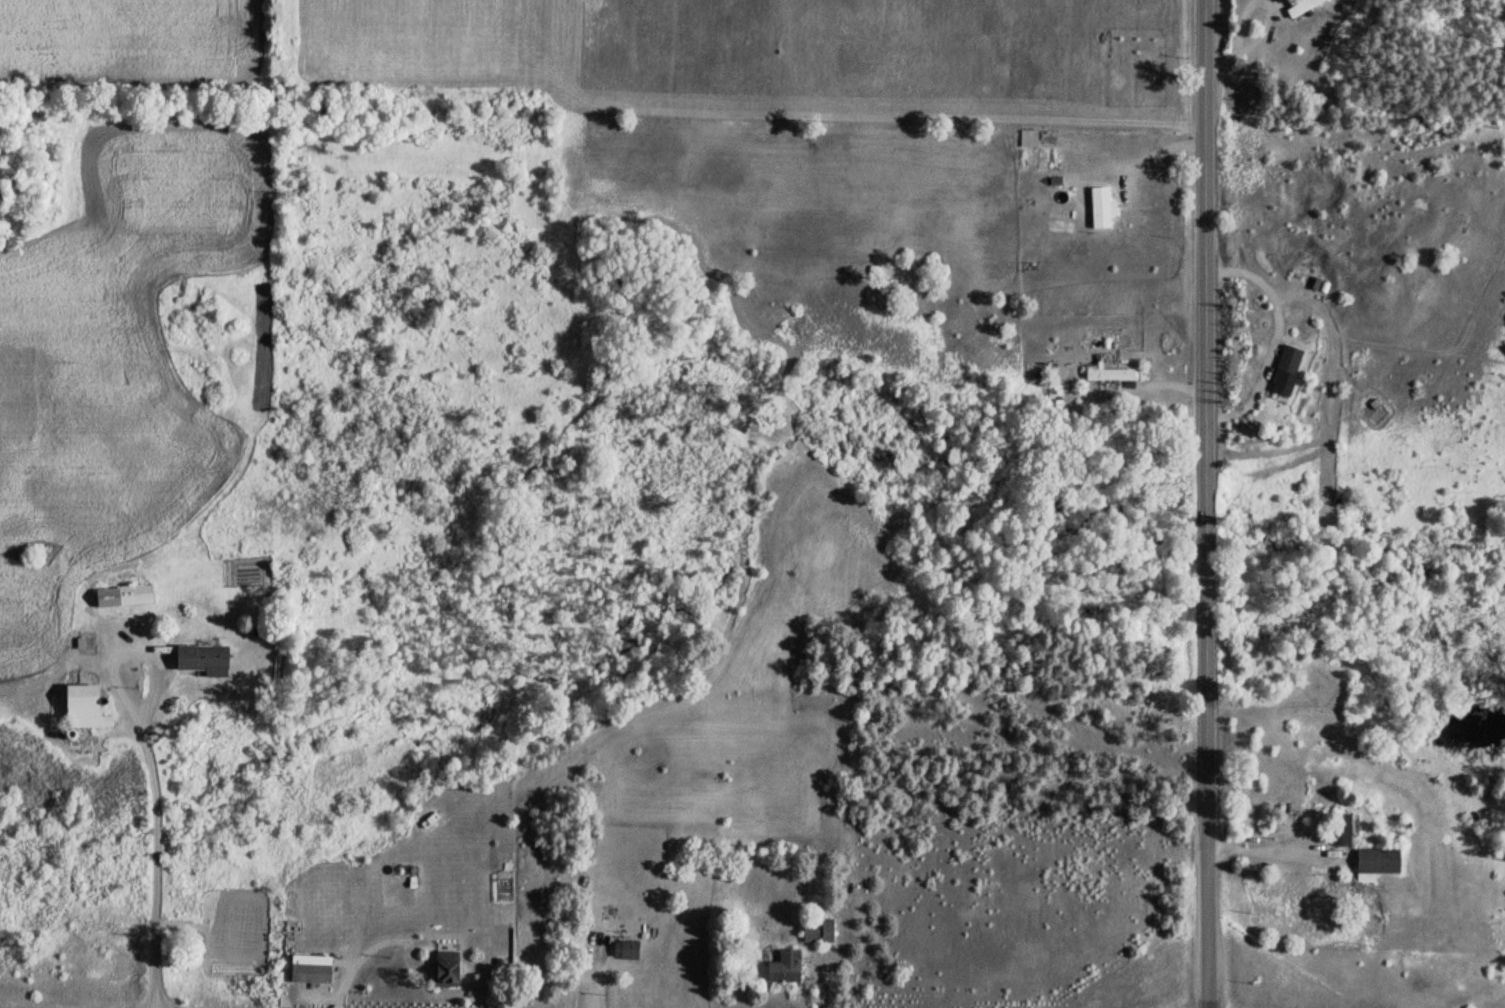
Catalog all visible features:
building: (1098, 207)
road: (1350, 235)
road: (1095, 362)
building: (1283, 369)
building: (1106, 373)
road: (1137, 378)
road: (1195, 504)
building: (121, 594)
building: (200, 658)
building: (78, 704)
building: (1336, 829)
building: (1372, 863)
building: (814, 930)
building: (622, 950)
building: (780, 965)
building: (443, 967)
building: (307, 971)

